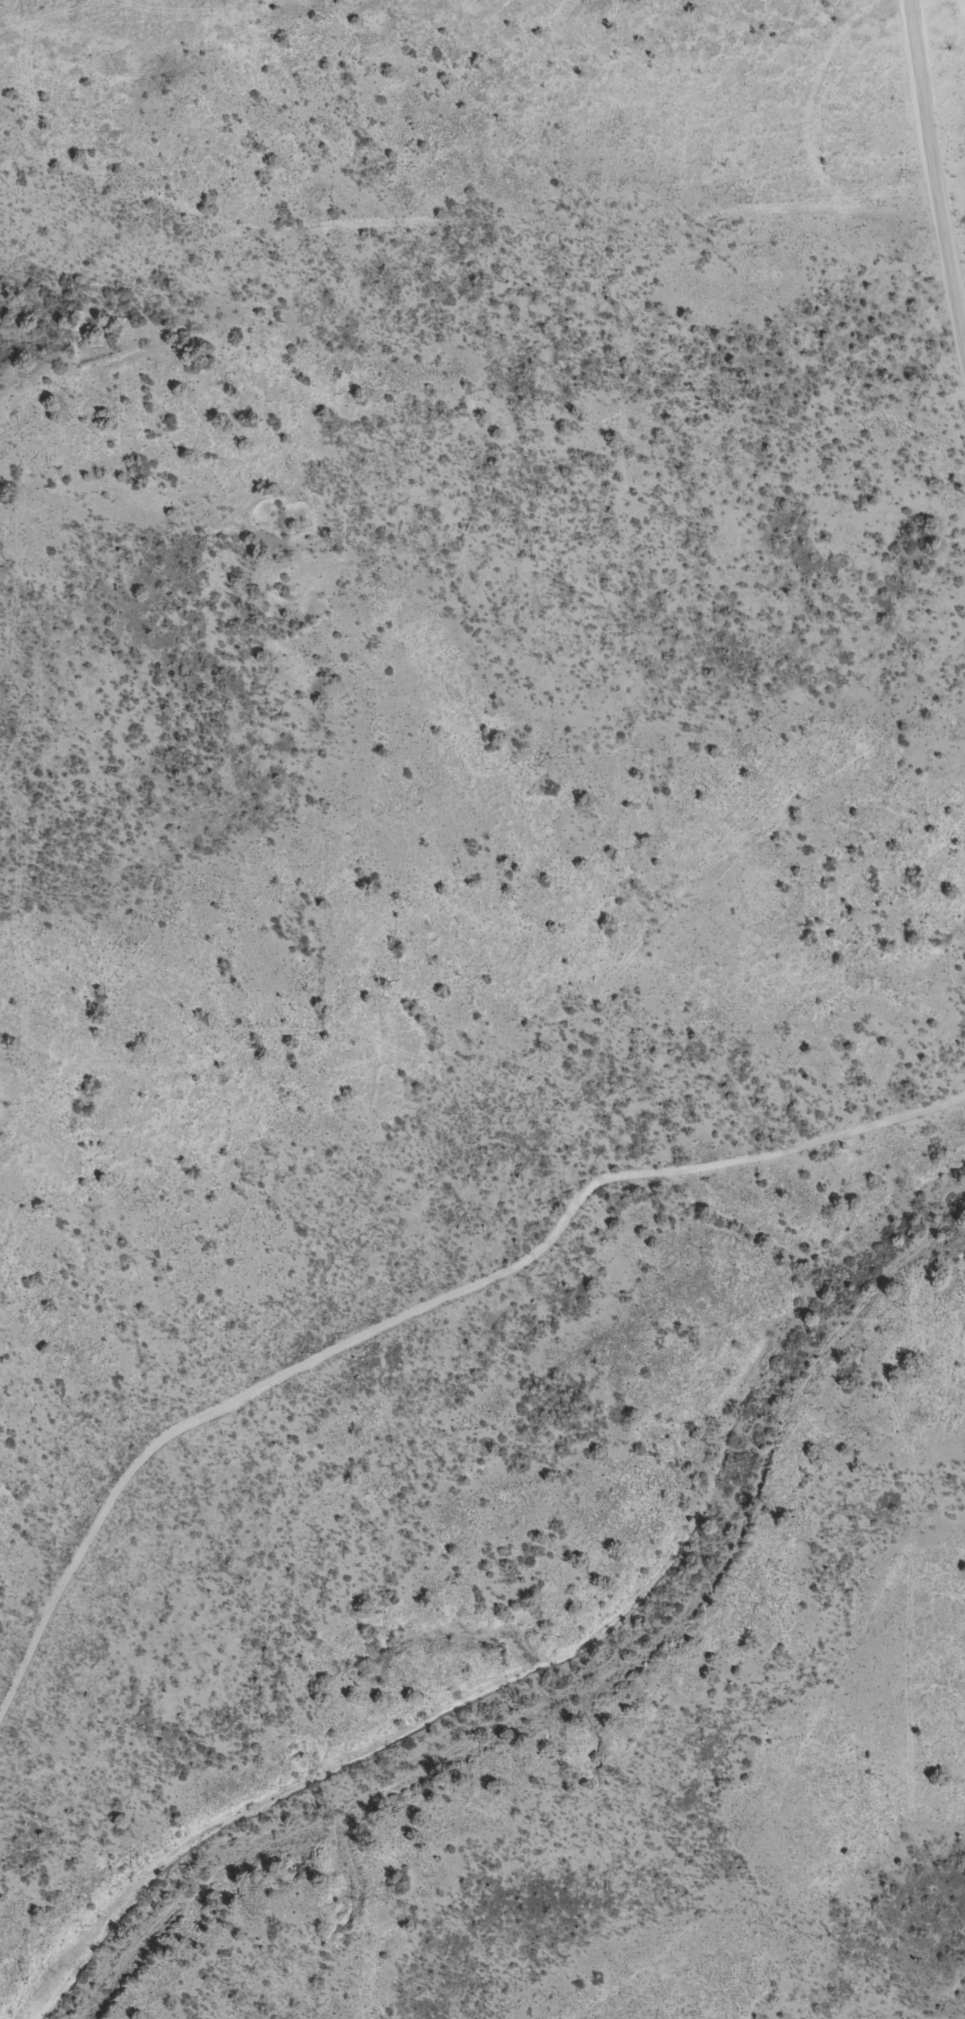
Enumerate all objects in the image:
road: (441, 1306)

